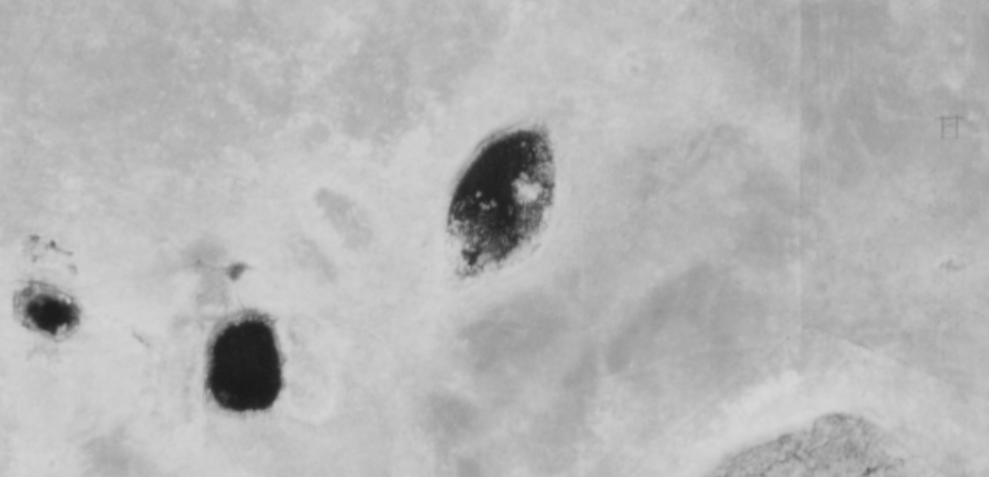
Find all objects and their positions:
power tower: (951, 138)

